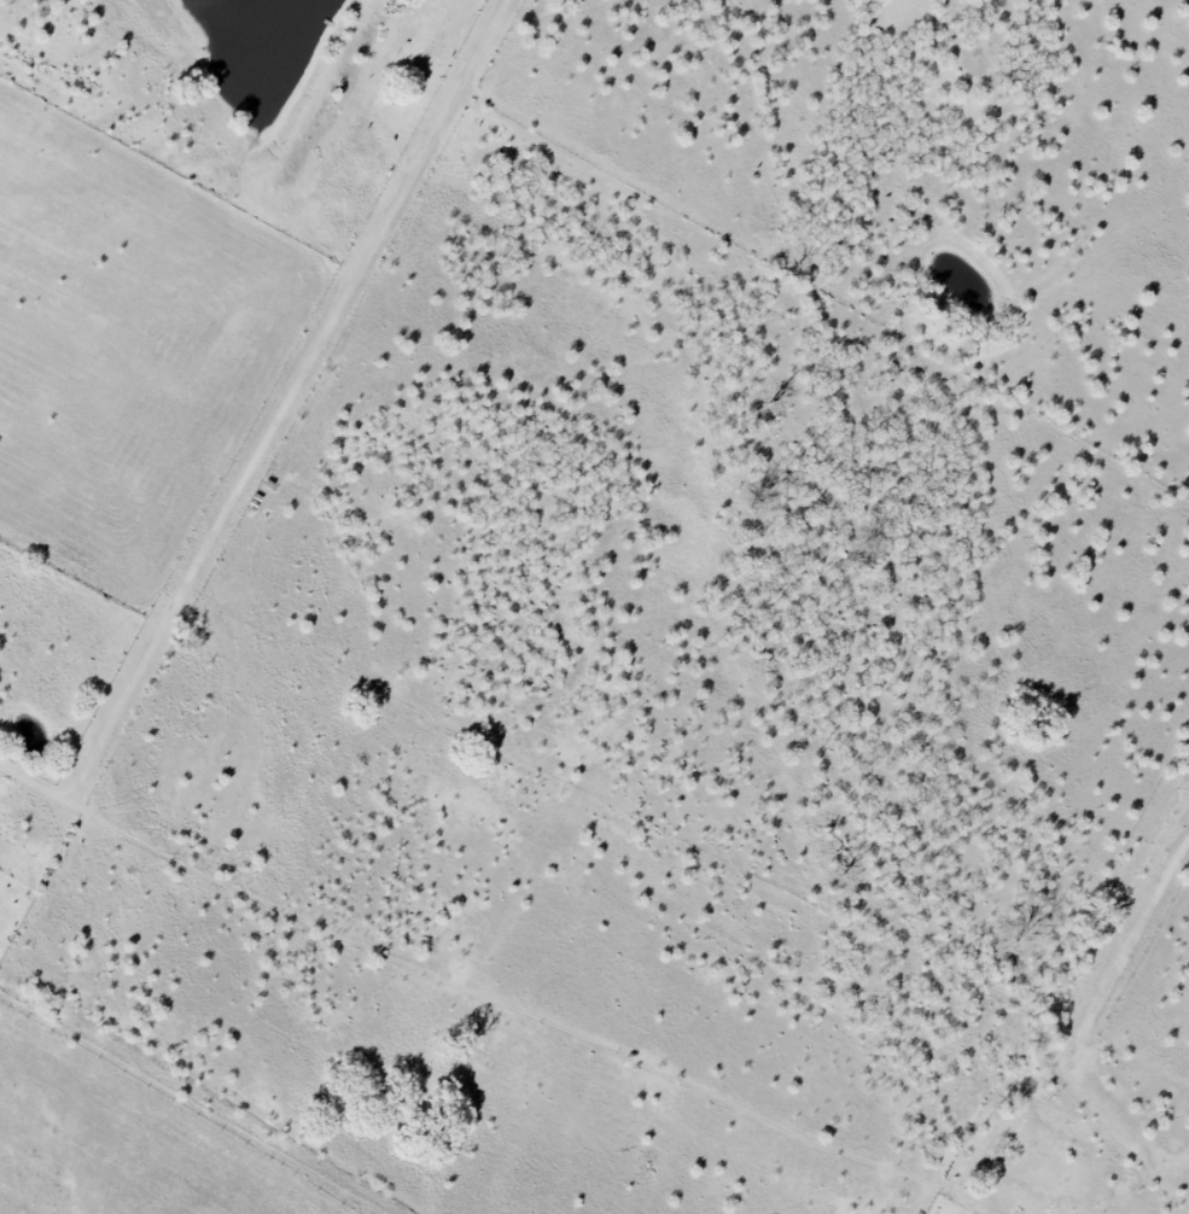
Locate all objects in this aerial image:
road: (206, 551)

